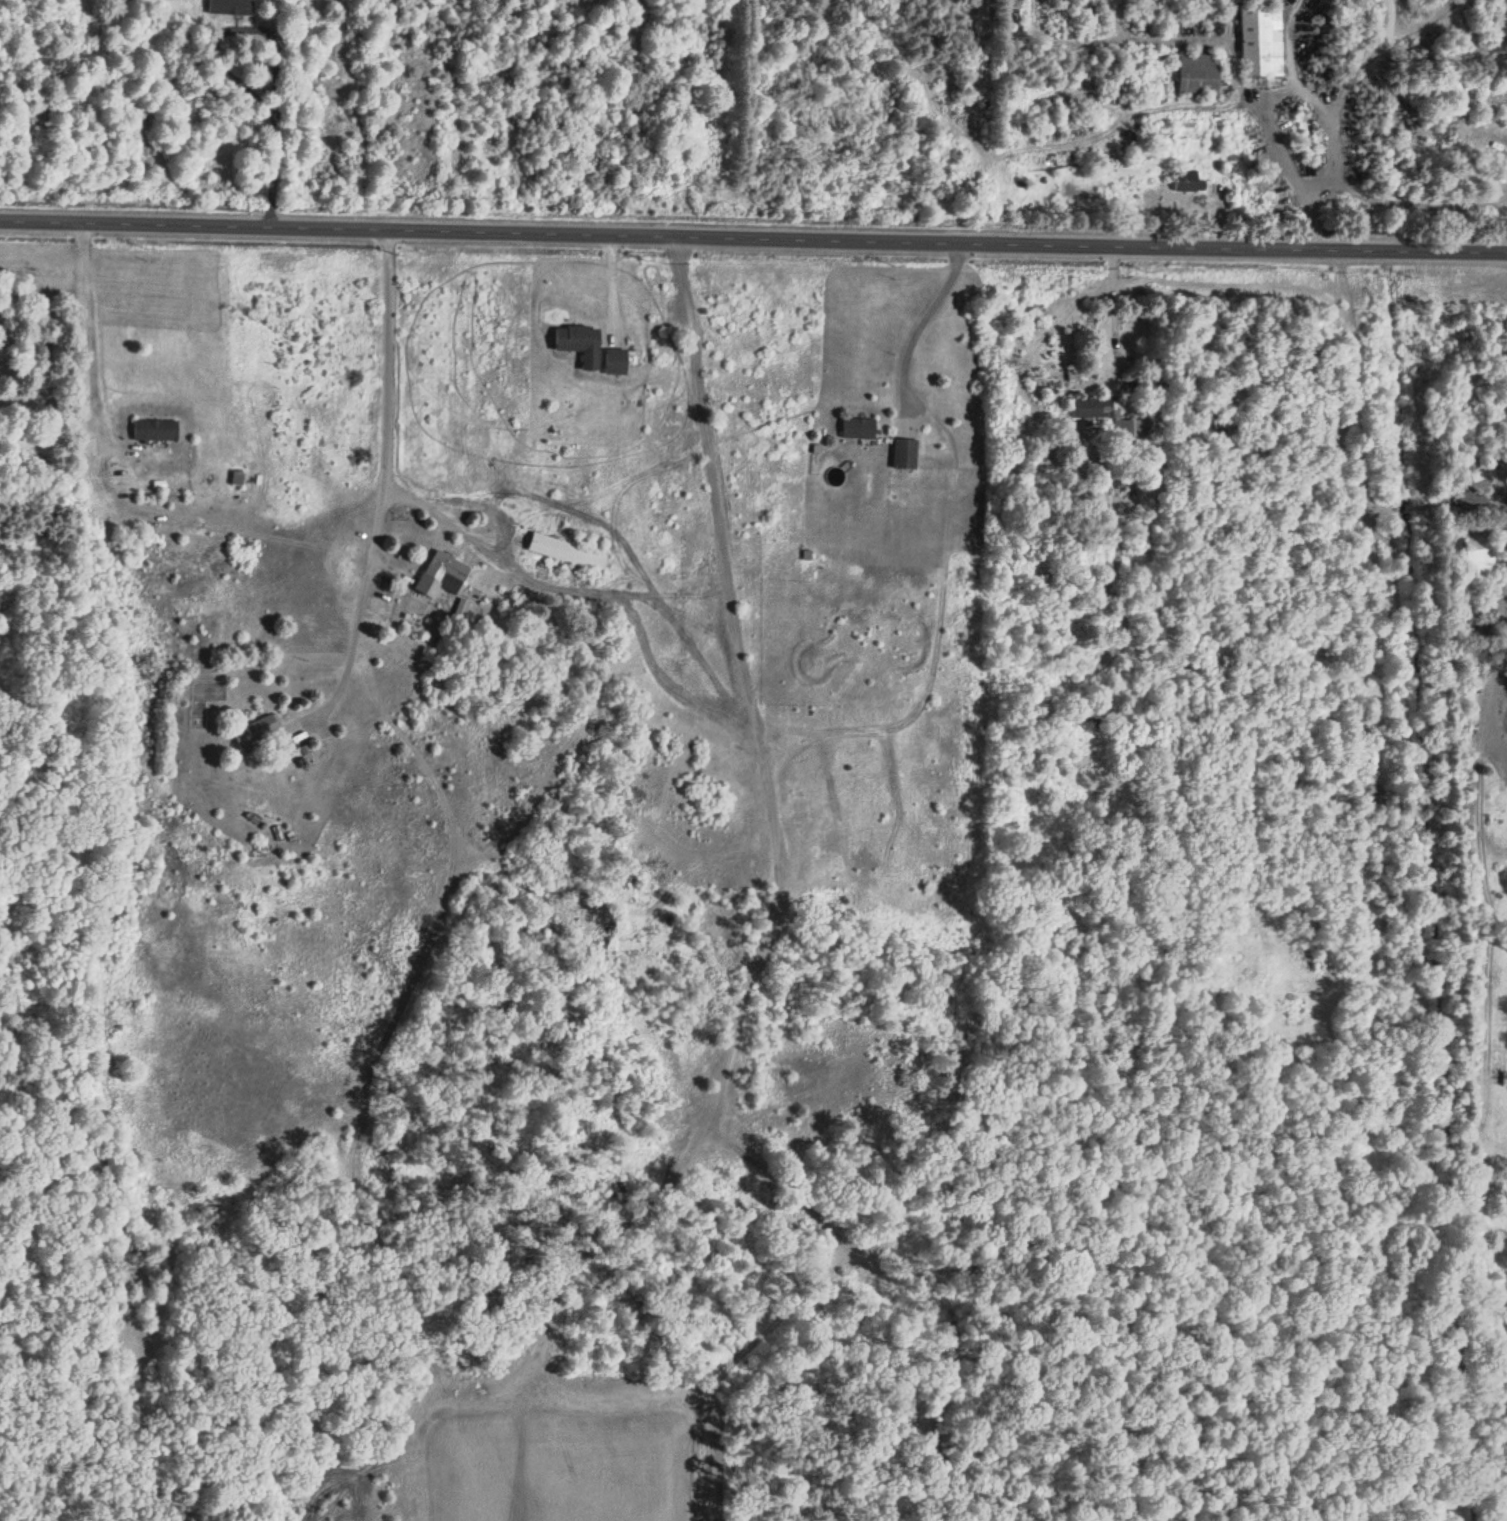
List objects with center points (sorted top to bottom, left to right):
building: (232, 6)
building: (1263, 39)
building: (1201, 72)
road: (1269, 94)
building: (895, 107)
road: (274, 119)
building: (1188, 179)
road: (753, 236)
road: (1113, 308)
road: (923, 318)
road: (92, 329)
building: (582, 343)
building: (618, 362)
building: (1098, 407)
building: (860, 428)
building: (158, 429)
building: (1133, 432)
building: (907, 454)
road: (1499, 477)
building: (239, 478)
road: (380, 487)
building: (1477, 549)
building: (569, 552)
building: (444, 574)
road: (585, 594)
building: (261, 732)
road: (768, 770)
building: (868, 1267)

